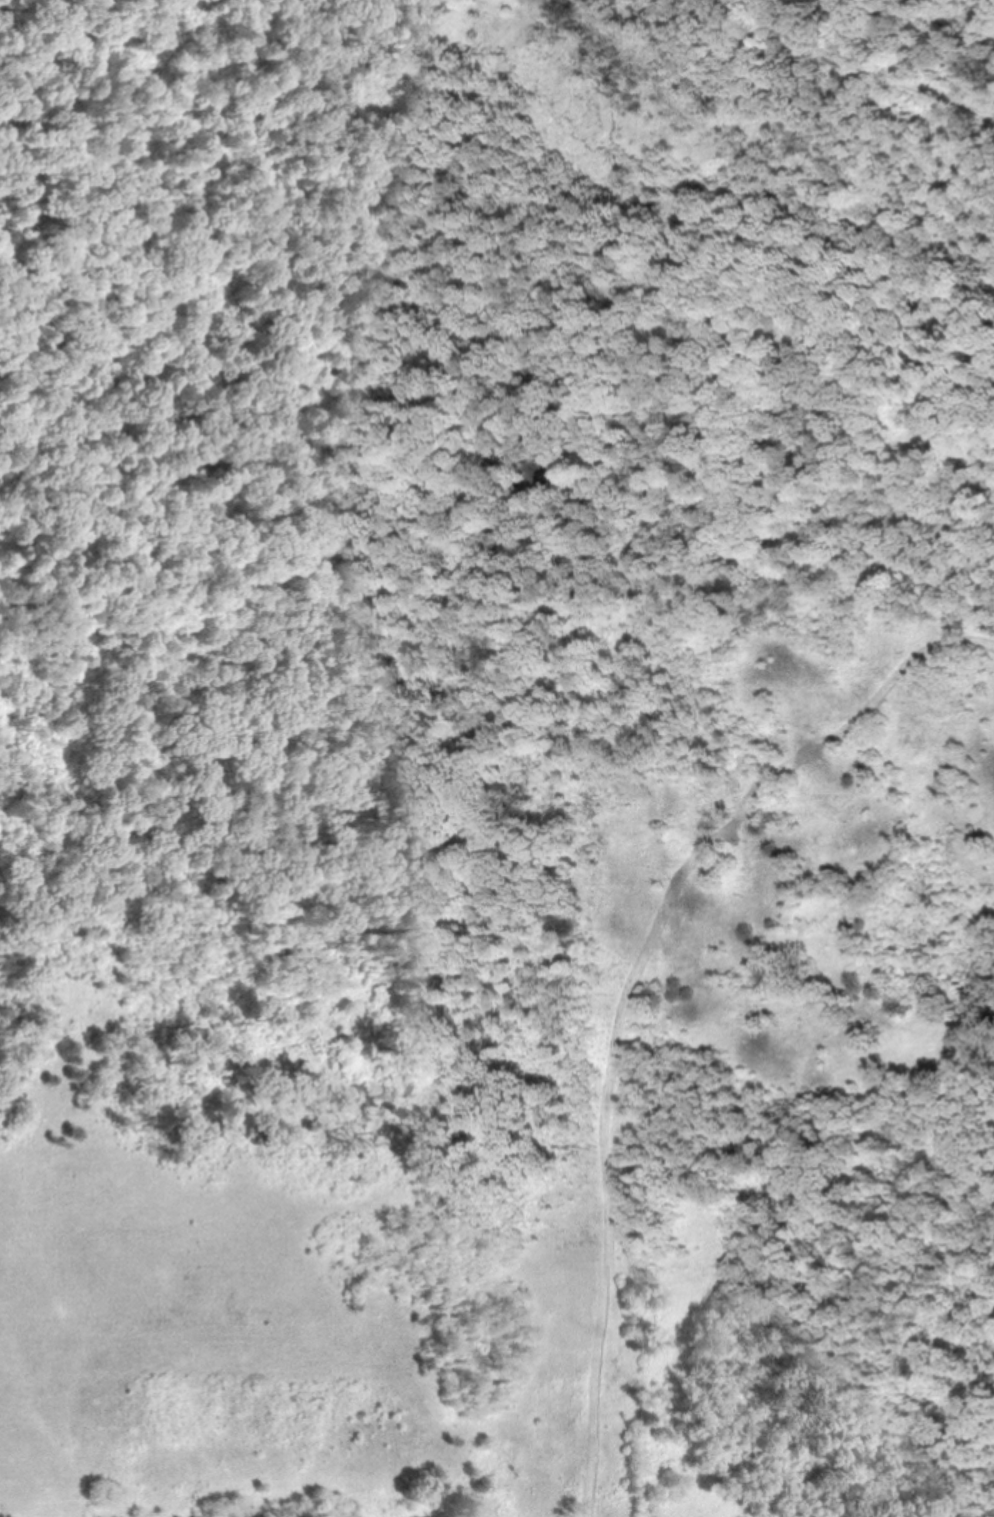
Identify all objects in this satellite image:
road: (870, 67)
road: (906, 311)
park: (497, 758)
road: (632, 987)

